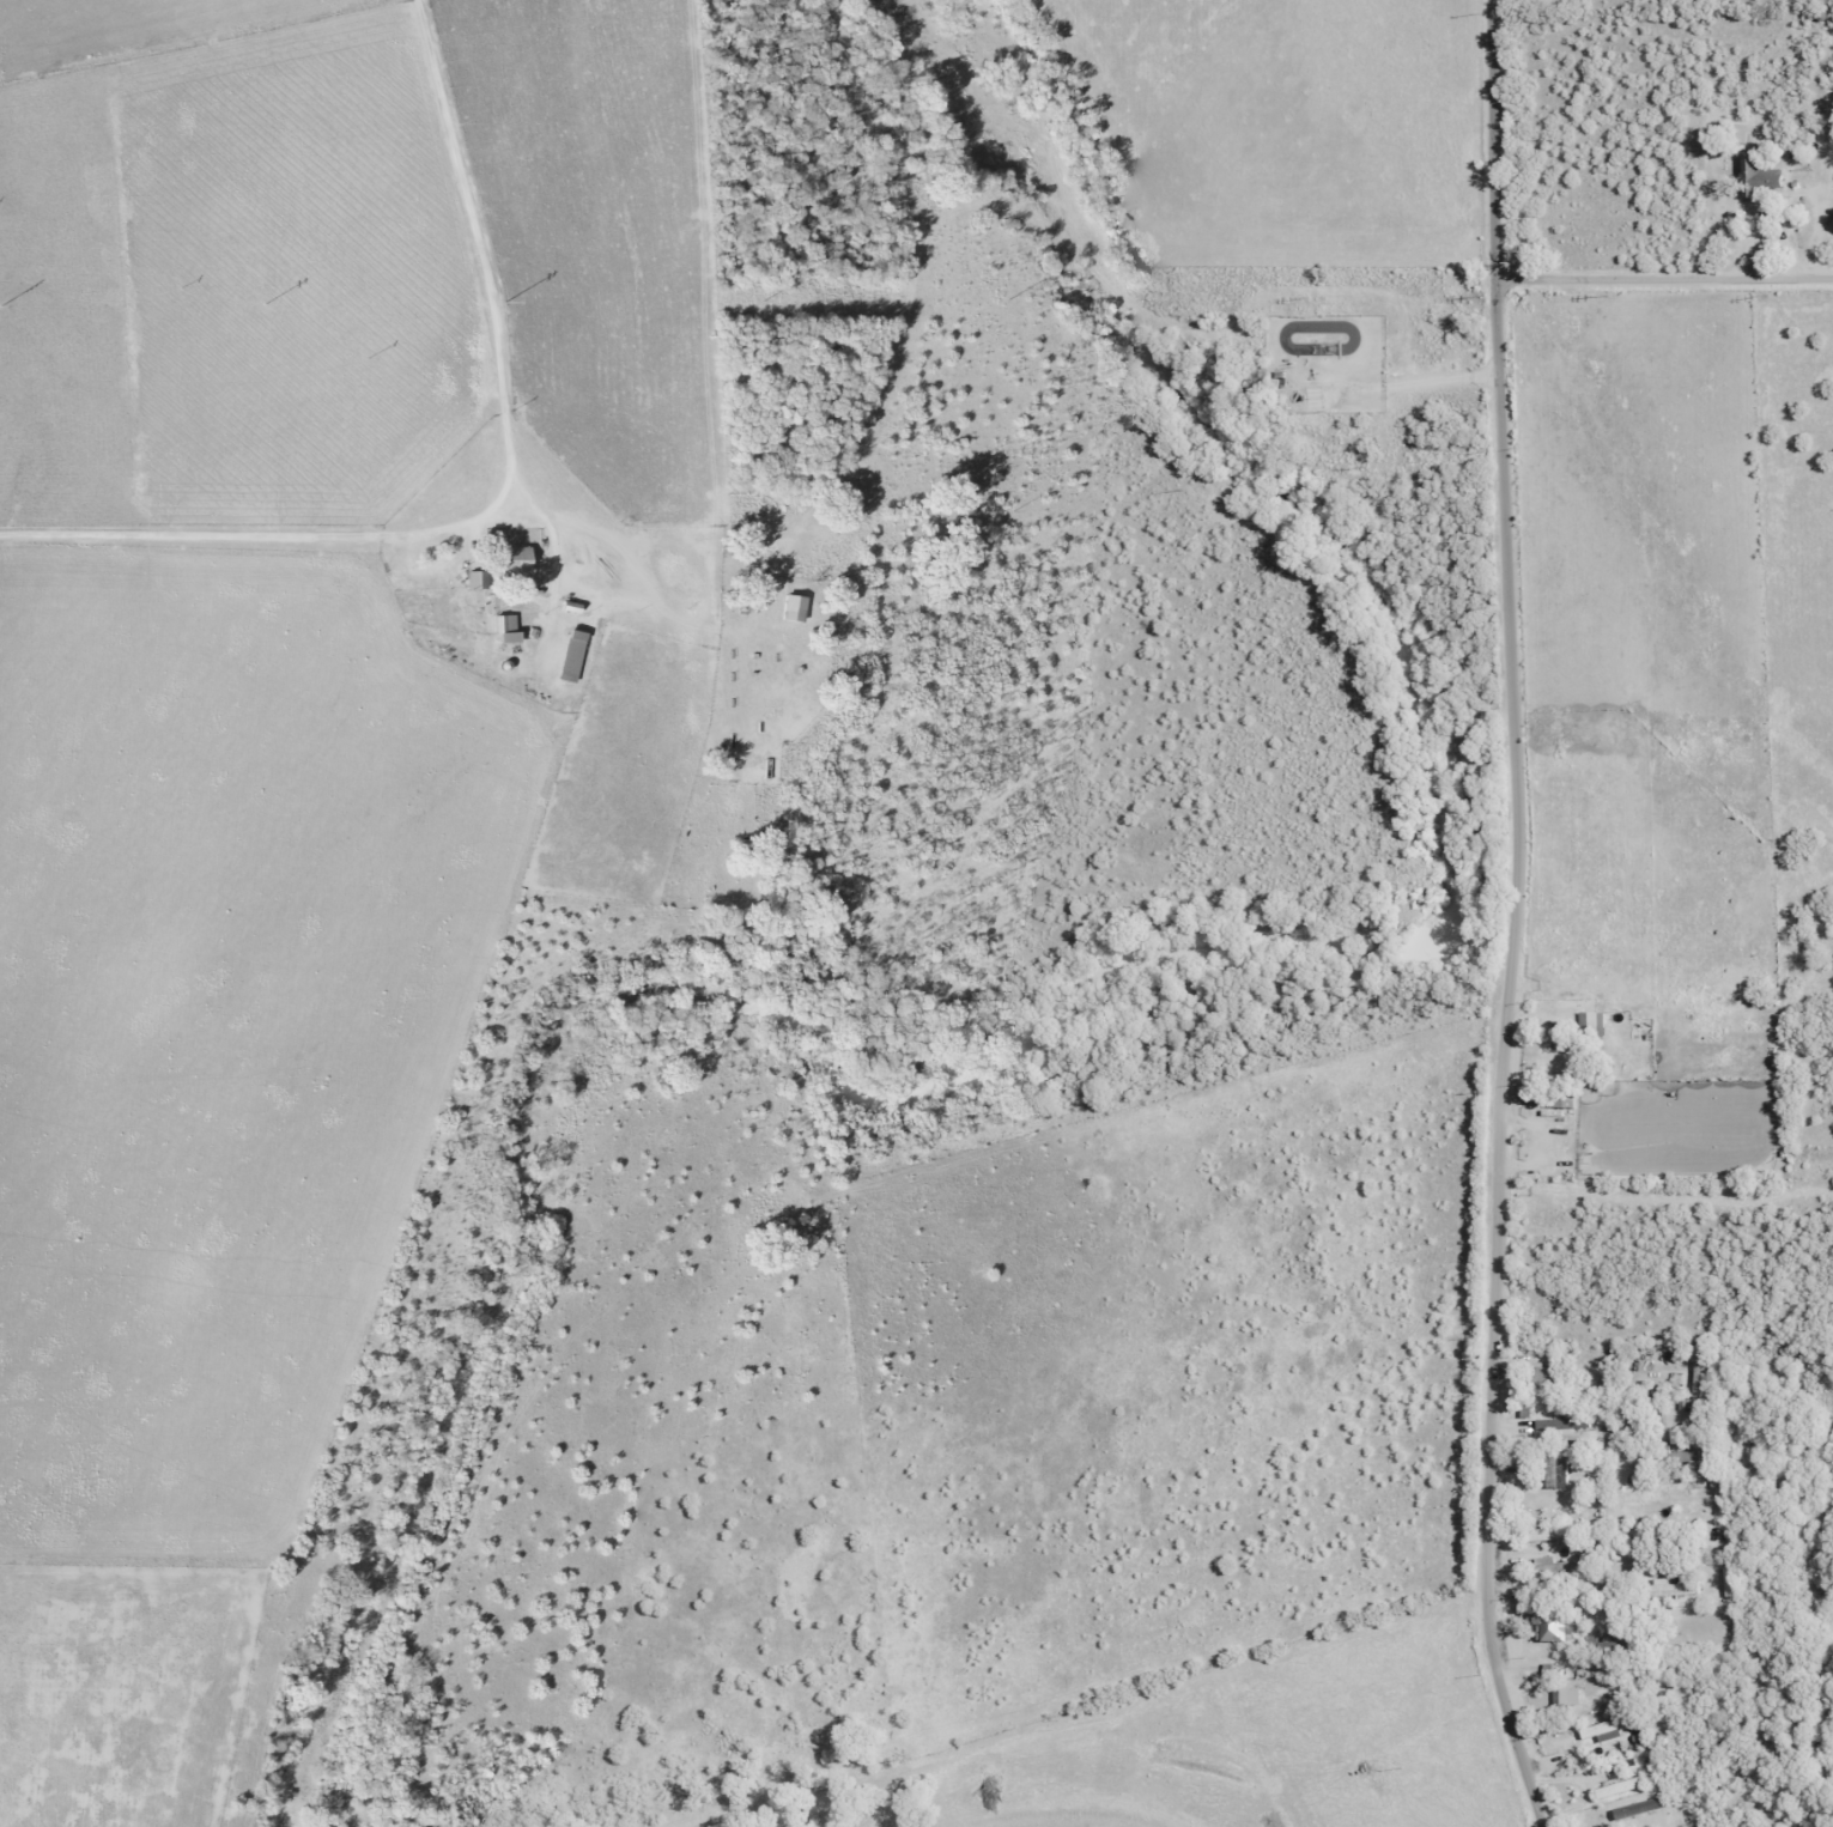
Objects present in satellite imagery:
road: (1497, 139)
building: (1759, 177)
road: (1665, 278)
power tower: (1473, 295)
power tower: (1597, 295)
power tower: (1783, 296)
power tower: (1008, 298)
power tower: (765, 299)
power tower: (1324, 299)
power tower: (506, 301)
power tower: (266, 302)
power tower: (5, 304)
road: (506, 505)
building: (509, 559)
building: (790, 607)
building: (503, 629)
building: (567, 655)
building: (1590, 1022)
road: (1505, 1051)
building: (1541, 1376)
building: (1679, 1459)
building: (1556, 1468)
building: (1553, 1532)
building: (1555, 1625)
building: (1601, 1730)
building: (1617, 1786)
road: (1688, 1789)
road: (1542, 1822)
building: (1694, 1825)

